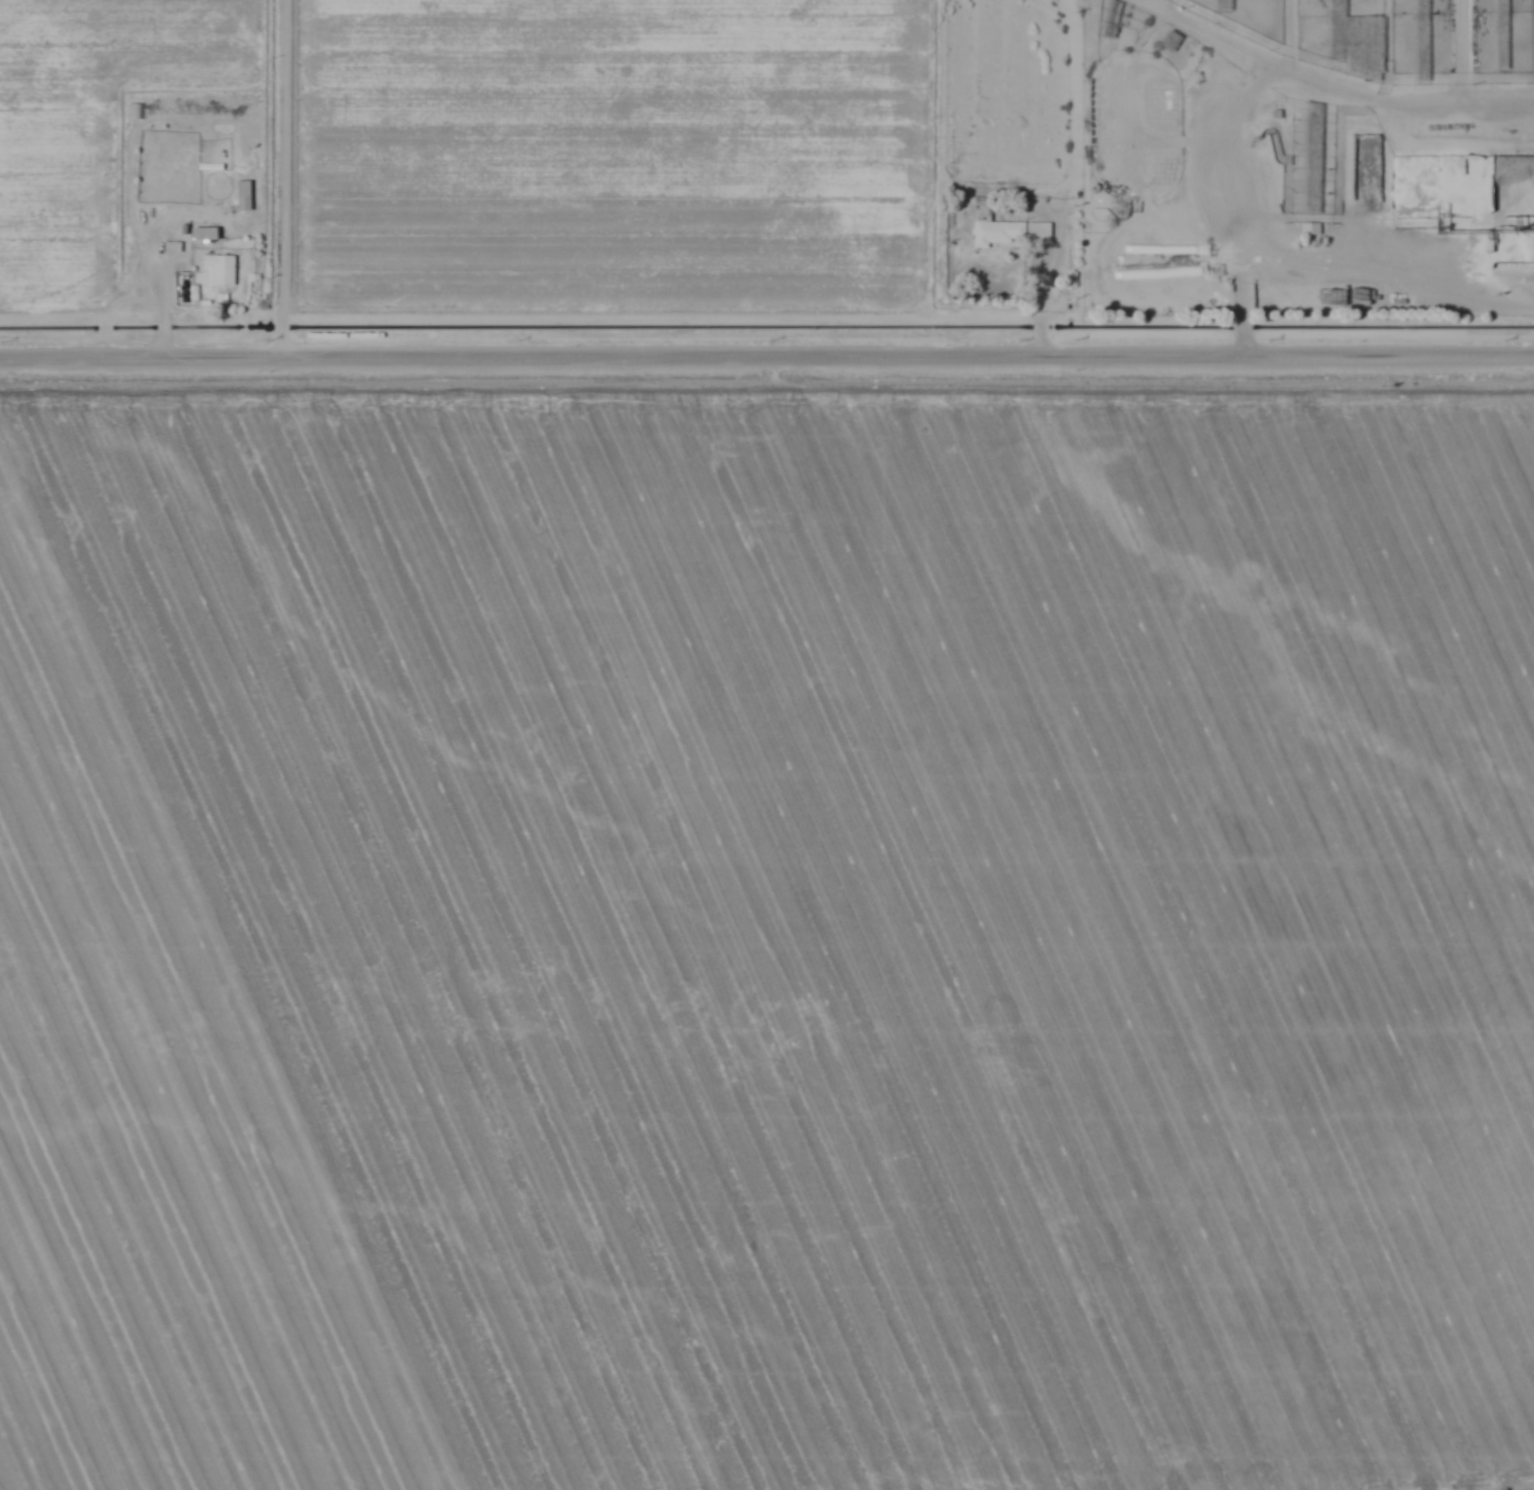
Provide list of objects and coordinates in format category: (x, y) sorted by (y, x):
building: (1337, 5)
building: (1114, 18)
building: (1501, 34)
building: (1171, 40)
building: (1422, 40)
crop: (90, 129)
crop: (610, 153)
building: (1516, 185)
building: (1010, 232)
building: (219, 269)
road: (767, 361)
crop: (767, 935)

